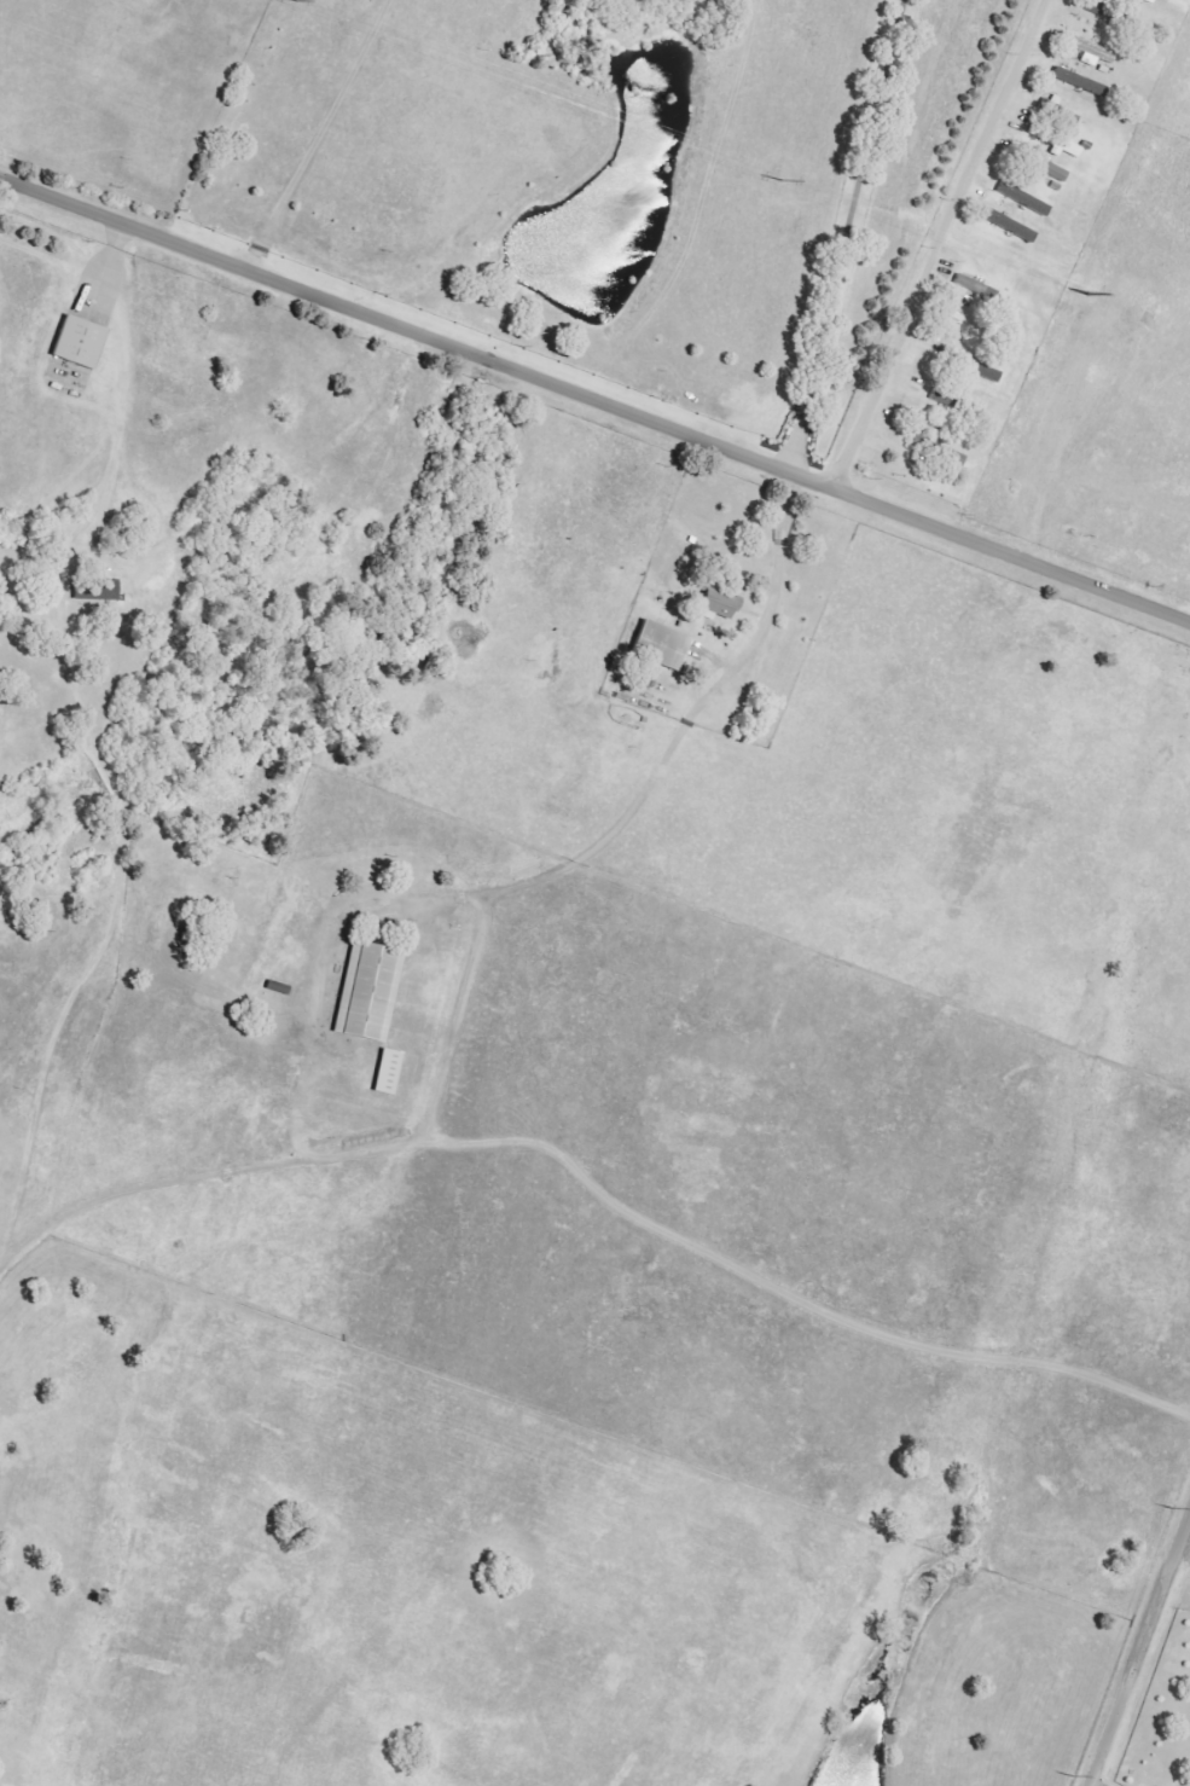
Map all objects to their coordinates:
building: (1153, 0)
building: (1093, 53)
building: (1080, 82)
building: (1050, 108)
road: (320, 135)
building: (1056, 174)
building: (1026, 201)
building: (1011, 226)
road: (842, 236)
road: (938, 244)
building: (976, 288)
building: (83, 343)
building: (944, 396)
road: (597, 399)
building: (924, 447)
building: (99, 591)
building: (722, 605)
building: (664, 645)
road: (611, 843)
building: (371, 992)
building: (391, 1073)
road: (182, 1193)
road: (777, 1307)
road: (1140, 1654)

